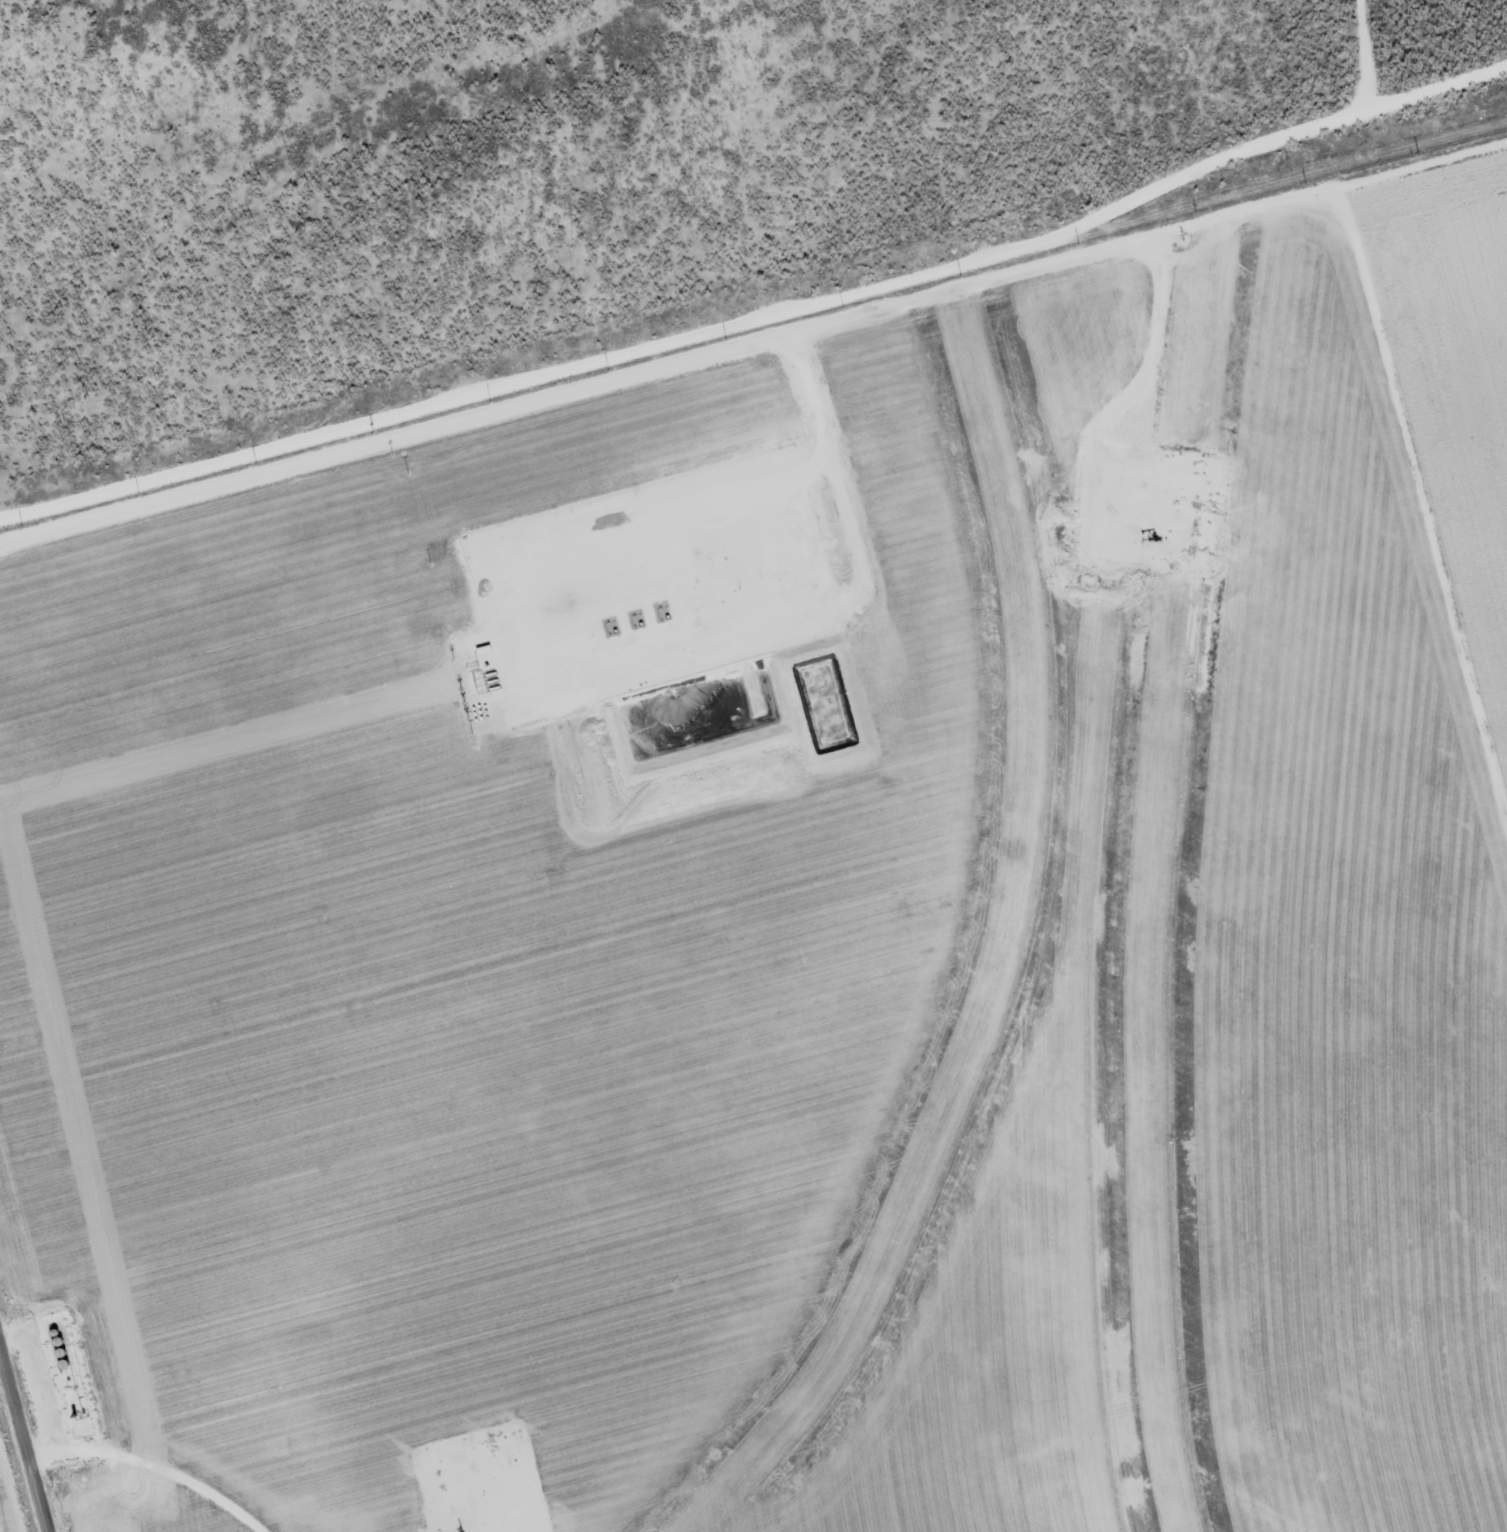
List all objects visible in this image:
road: (1437, 89)
road: (690, 336)
road: (752, 338)
road: (17, 1461)

